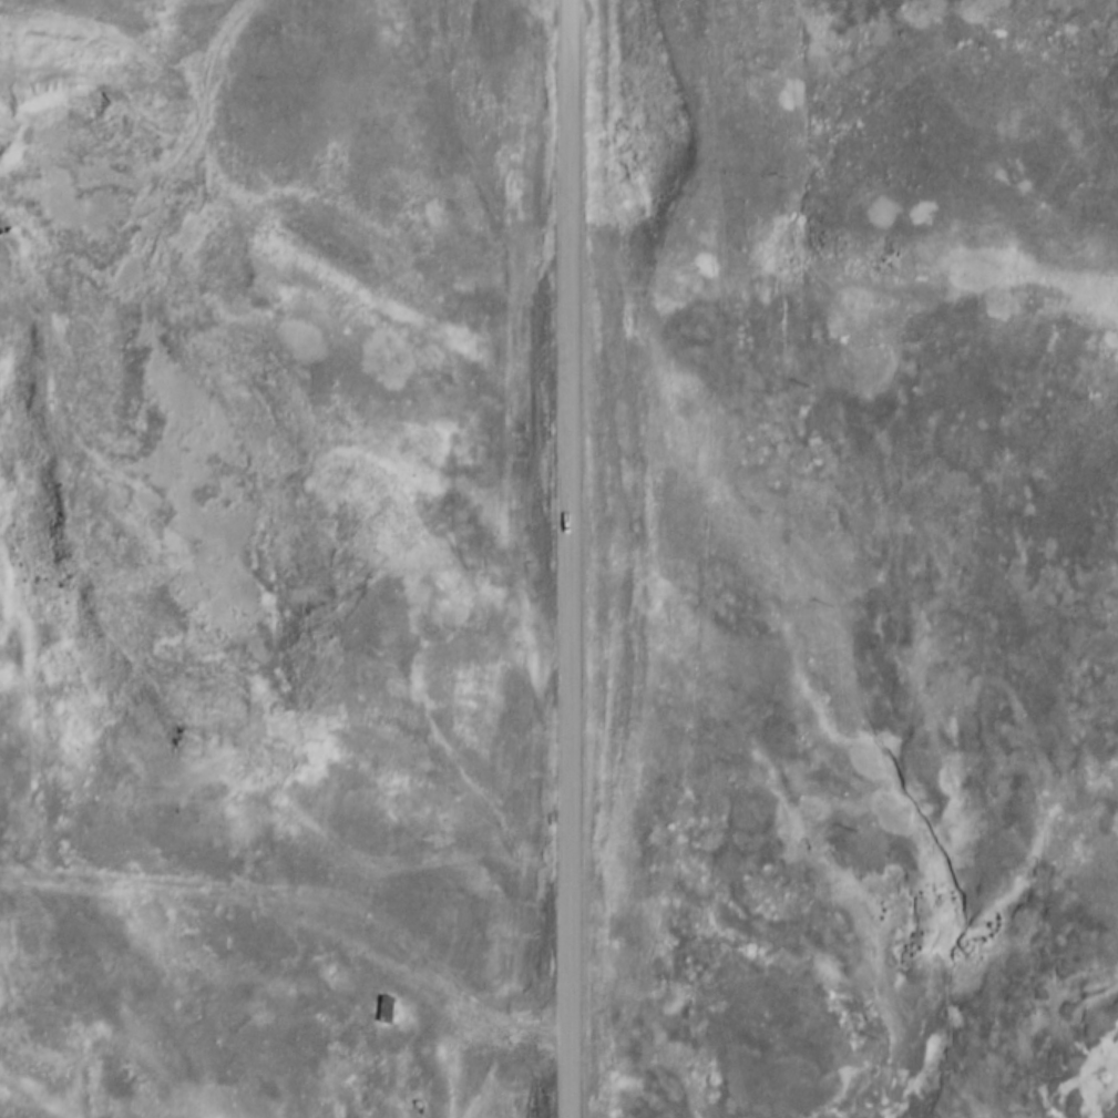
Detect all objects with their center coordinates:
road: (129, 134)
quarry: (177, 431)
road: (619, 567)
road: (283, 899)
building: (383, 1009)

